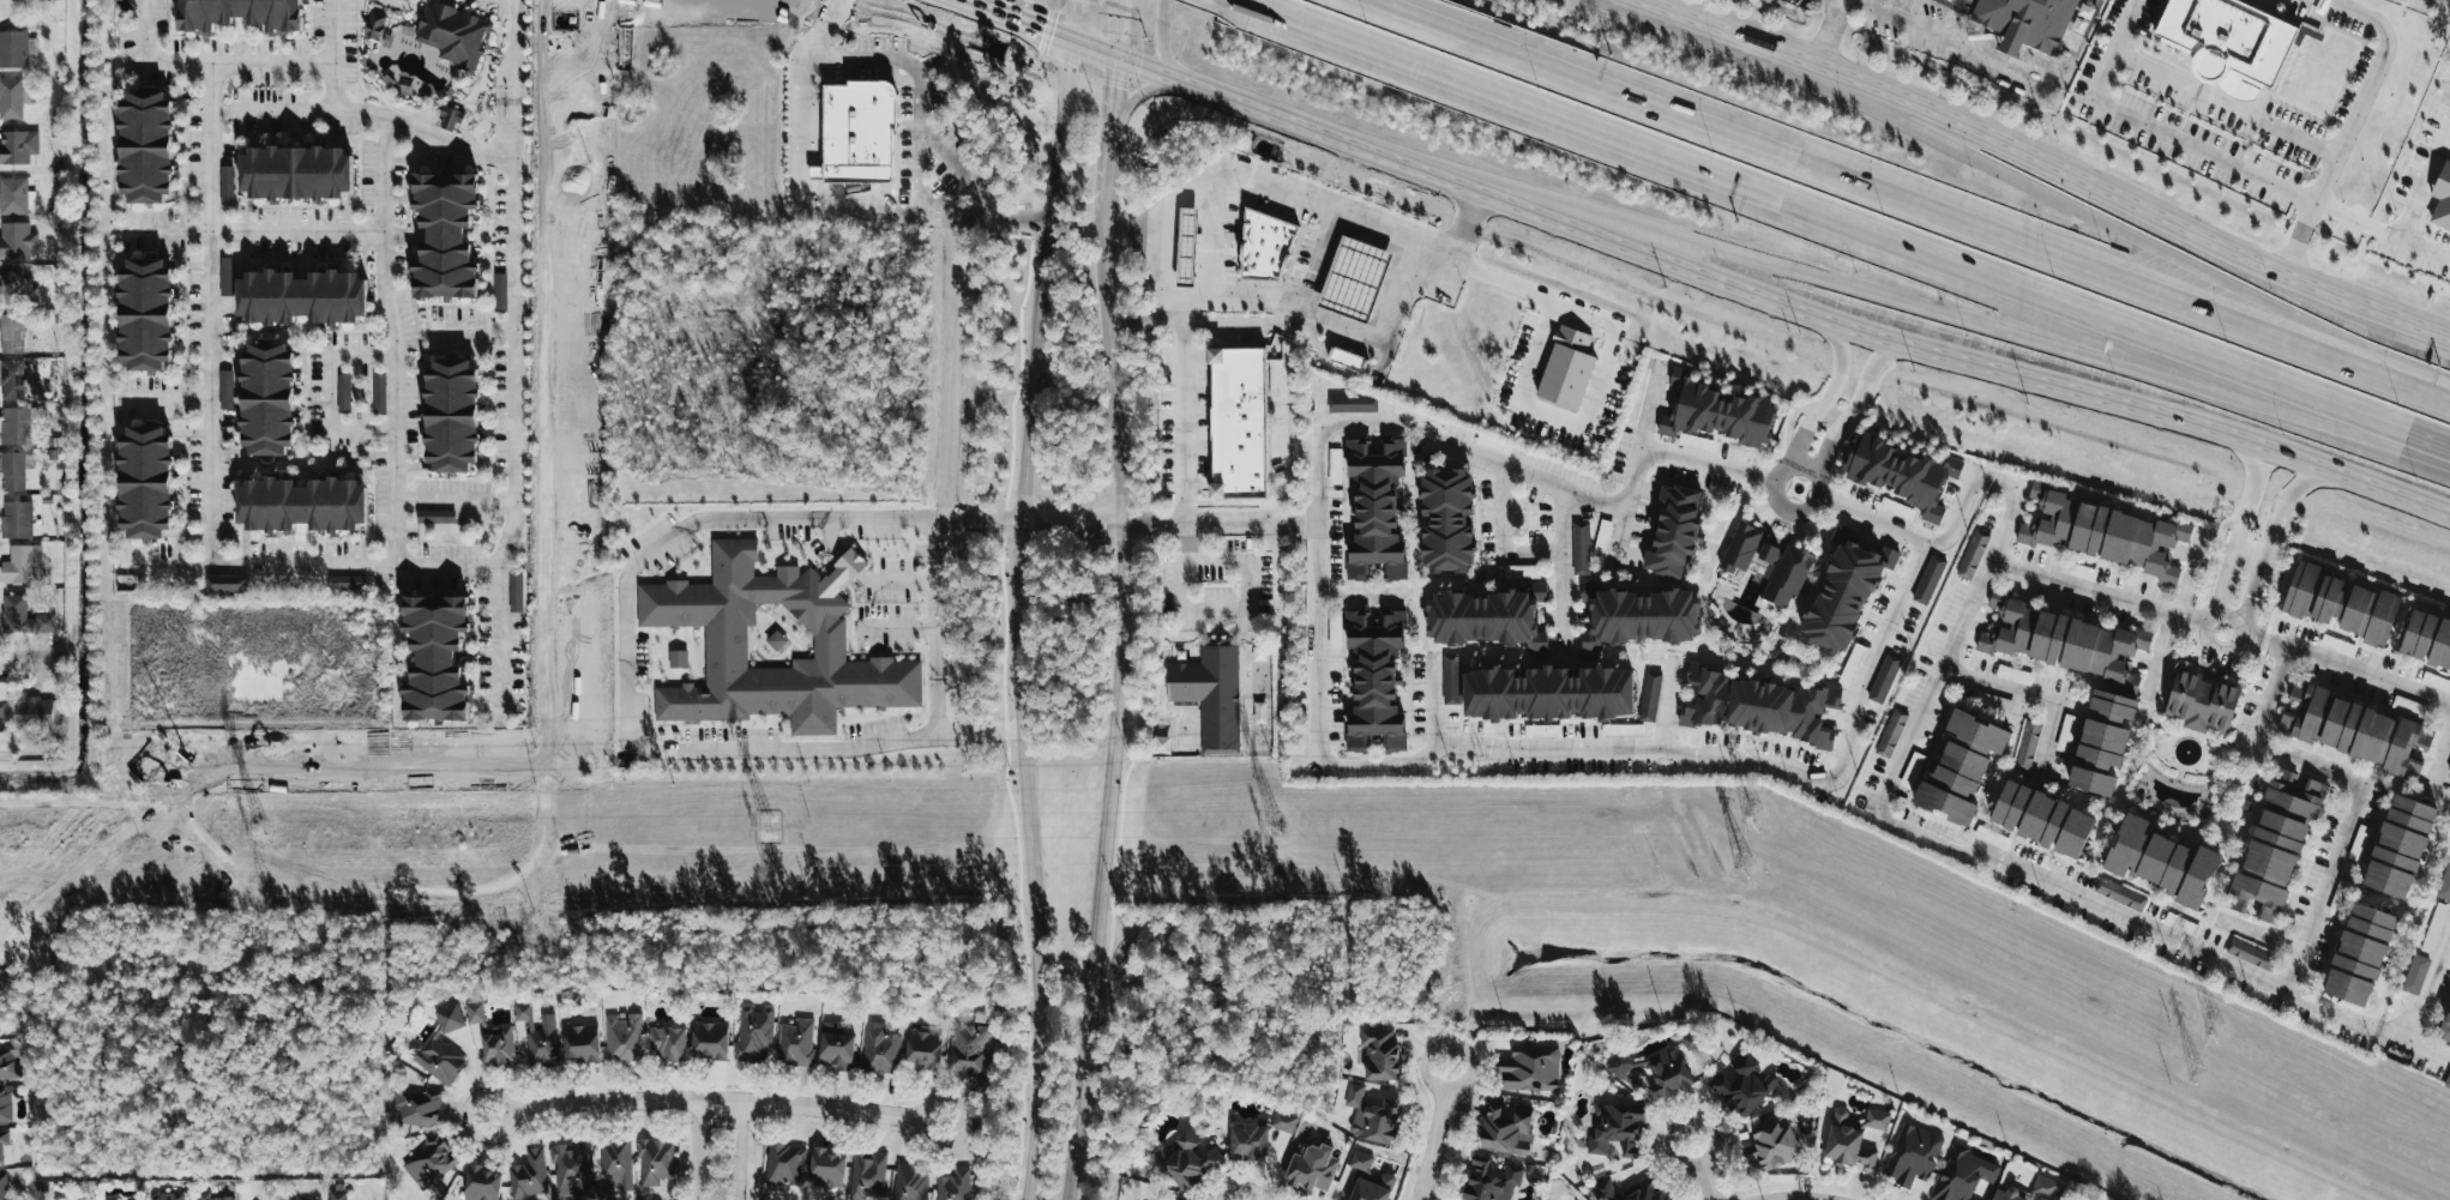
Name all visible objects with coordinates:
building: (1949, 0)
road: (959, 2)
road: (973, 2)
road: (1660, 7)
building: (231, 14)
road: (1073, 22)
road: (1902, 22)
building: (2024, 23)
road: (1018, 24)
building: (372, 25)
road: (830, 26)
road: (1120, 31)
building: (453, 32)
traffic signals: (1043, 34)
road: (1824, 38)
road: (2011, 43)
building: (2225, 43)
road: (1966, 46)
building: (12, 49)
road: (507, 52)
road: (329, 55)
road: (1166, 58)
road: (205, 62)
road: (2045, 79)
traffic signals: (1115, 86)
road: (2367, 90)
road: (1152, 91)
road: (920, 94)
building: (10, 98)
road: (2227, 103)
road: (373, 113)
building: (447, 117)
road: (1112, 129)
road: (2159, 132)
building: (854, 133)
building: (17, 147)
building: (138, 147)
road: (2069, 170)
building: (289, 174)
road: (2426, 185)
road: (803, 186)
building: (12, 195)
road: (1184, 195)
building: (2440, 199)
road: (2065, 201)
road: (1904, 204)
road: (938, 213)
road: (999, 218)
road: (1842, 227)
building: (437, 230)
road: (248, 231)
road: (2383, 231)
road: (1133, 235)
road: (2301, 239)
building: (16, 240)
road: (1206, 245)
building: (1264, 246)
building: (1186, 248)
gas station: (1186, 248)
building: (1353, 278)
gas station: (1353, 278)
building: (498, 291)
road: (1754, 294)
building: (295, 295)
road: (1234, 300)
building: (138, 312)
road: (1927, 314)
road: (203, 315)
road: (1140, 316)
road: (1289, 321)
road: (469, 327)
road: (390, 340)
building: (1344, 357)
building: (1564, 367)
road: (1599, 374)
building: (10, 380)
building: (341, 391)
building: (377, 392)
road: (324, 396)
road: (1824, 396)
building: (259, 397)
road: (165, 398)
building: (1350, 403)
road: (507, 404)
road: (1853, 409)
building: (1714, 411)
building: (444, 412)
building: (1235, 422)
building: (12, 424)
building: (1697, 442)
road: (1636, 464)
road: (1709, 466)
road: (1795, 470)
building: (11, 471)
building: (1898, 472)
building: (138, 480)
road: (1816, 482)
building: (295, 502)
road: (449, 506)
road: (1787, 506)
building: (1372, 507)
road: (2246, 507)
road: (2279, 507)
road: (937, 513)
building: (433, 517)
building: (14, 519)
road: (968, 519)
building: (1443, 519)
road: (1305, 524)
road: (1950, 526)
building: (1671, 530)
building: (2102, 532)
road: (1504, 537)
road: (1190, 542)
road: (1318, 543)
building: (1579, 548)
building: (1739, 548)
building: (1764, 551)
road: (2250, 553)
building: (1972, 554)
building: (16, 566)
road: (309, 568)
road: (1560, 568)
building: (1786, 574)
road: (2039, 575)
building: (1927, 580)
building: (222, 583)
building: (343, 583)
road: (624, 584)
building: (514, 591)
building: (1842, 591)
road: (1359, 592)
road: (2221, 593)
road: (2250, 603)
building: (2340, 604)
road: (1245, 609)
building: (1637, 615)
building: (24, 617)
building: (1485, 617)
road: (1017, 621)
building: (2427, 640)
building: (721, 645)
building: (2337, 645)
road: (2234, 652)
building: (1856, 653)
building: (435, 657)
building: (678, 657)
road: (34, 659)
road: (2368, 673)
building: (2013, 675)
building: (1884, 679)
building: (1451, 681)
building: (2437, 682)
building: (1548, 692)
road: (2030, 692)
building: (1209, 695)
building: (1650, 697)
road: (1115, 699)
building: (1994, 701)
building: (2203, 701)
building: (2111, 704)
building: (1760, 705)
building: (1260, 712)
building: (40, 713)
building: (4, 716)
building: (2356, 730)
building: (1891, 732)
building: (2066, 734)
building: (1161, 744)
building: (2028, 744)
road: (2438, 753)
road: (1757, 762)
building: (1962, 766)
building: (2449, 767)
road: (2338, 777)
power tower: (1748, 820)
building: (2043, 820)
power tower: (1272, 826)
power tower: (769, 830)
power tower: (261, 836)
building: (2275, 845)
building: (2400, 845)
building: (2162, 862)
power tower: (1266, 866)
power tower: (1738, 867)
power tower: (766, 874)
power tower: (260, 879)
road: (2058, 891)
building: (2119, 894)
building: (2434, 928)
building: (2250, 954)
building: (2360, 954)
building: (2415, 975)
road: (2421, 1007)
building: (2445, 1029)
building: (754, 1032)
power tower: (2211, 1033)
road: (2394, 1033)
building: (492, 1037)
building: (624, 1037)
building: (538, 1038)
building: (711, 1039)
building: (582, 1043)
building: (668, 1043)
building: (796, 1043)
building: (440, 1048)
building: (880, 1049)
building: (925, 1049)
building: (969, 1049)
building: (837, 1050)
building: (1379, 1054)
building: (10, 1063)
building: (1620, 1065)
building: (1531, 1069)
building: (1668, 1074)
power tower: (2192, 1074)
building: (2448, 1081)
building: (1744, 1085)
road: (714, 1102)
building: (5, 1105)
building: (416, 1108)
building: (1372, 1116)
building: (1282, 1122)
building: (1507, 1128)
building: (1617, 1129)
road: (1437, 1135)
building: (1853, 1139)
building: (1248, 1142)
building: (1772, 1145)
building: (5, 1147)
road: (703, 1151)
road: (739, 1151)
building: (1913, 1154)
building: (1191, 1159)
building: (431, 1162)
building: (655, 1162)
building: (1361, 1162)
building: (784, 1164)
building: (616, 1165)
building: (1312, 1168)
building: (570, 1169)
building: (827, 1169)
road: (1702, 1172)
building: (1963, 1175)
building: (529, 1176)
building: (867, 1176)
building: (1492, 1181)
building: (910, 1182)
building: (482, 1183)
building: (955, 1186)
building: (4, 1187)
building: (2045, 1187)
building: (1373, 1188)
building: (1603, 1190)
building: (1648, 1190)
building: (337, 1195)
building: (169, 1196)
building: (209, 1196)
building: (116, 1199)
building: (305, 1199)

